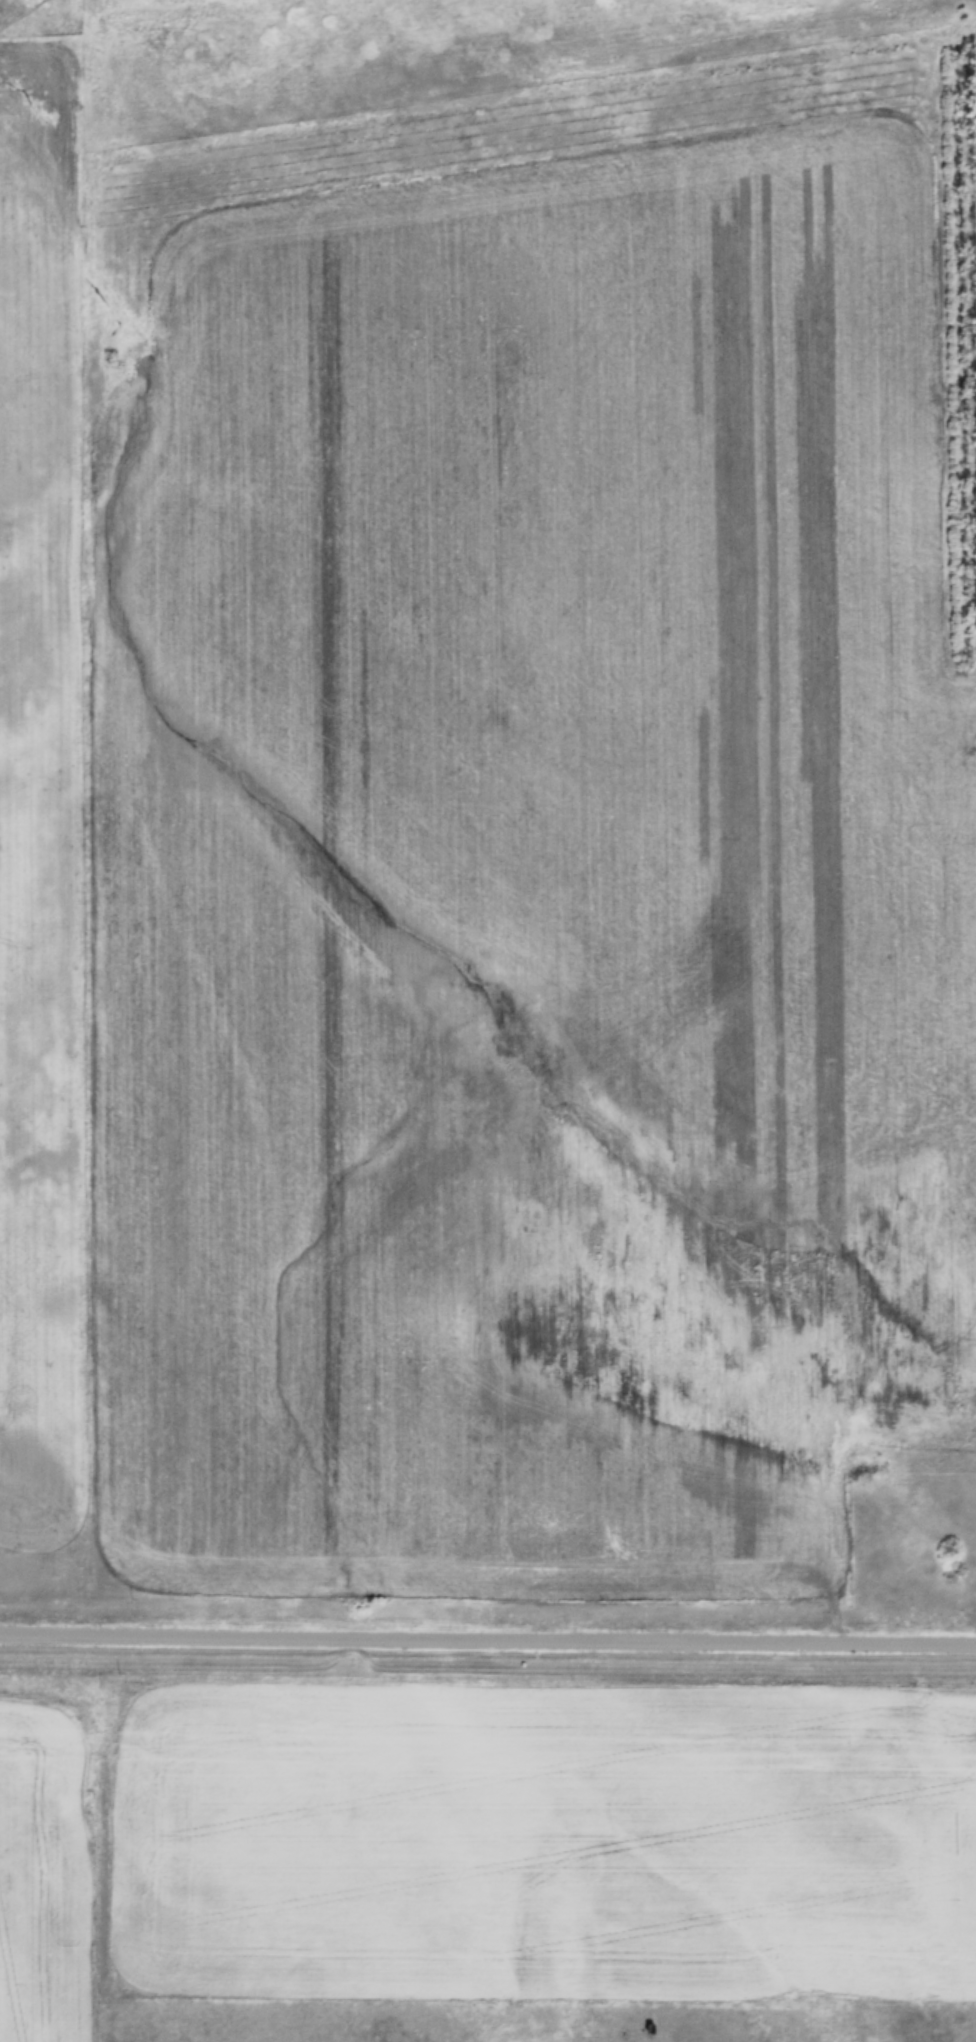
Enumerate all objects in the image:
crop: (532, 886)
road: (488, 1640)

